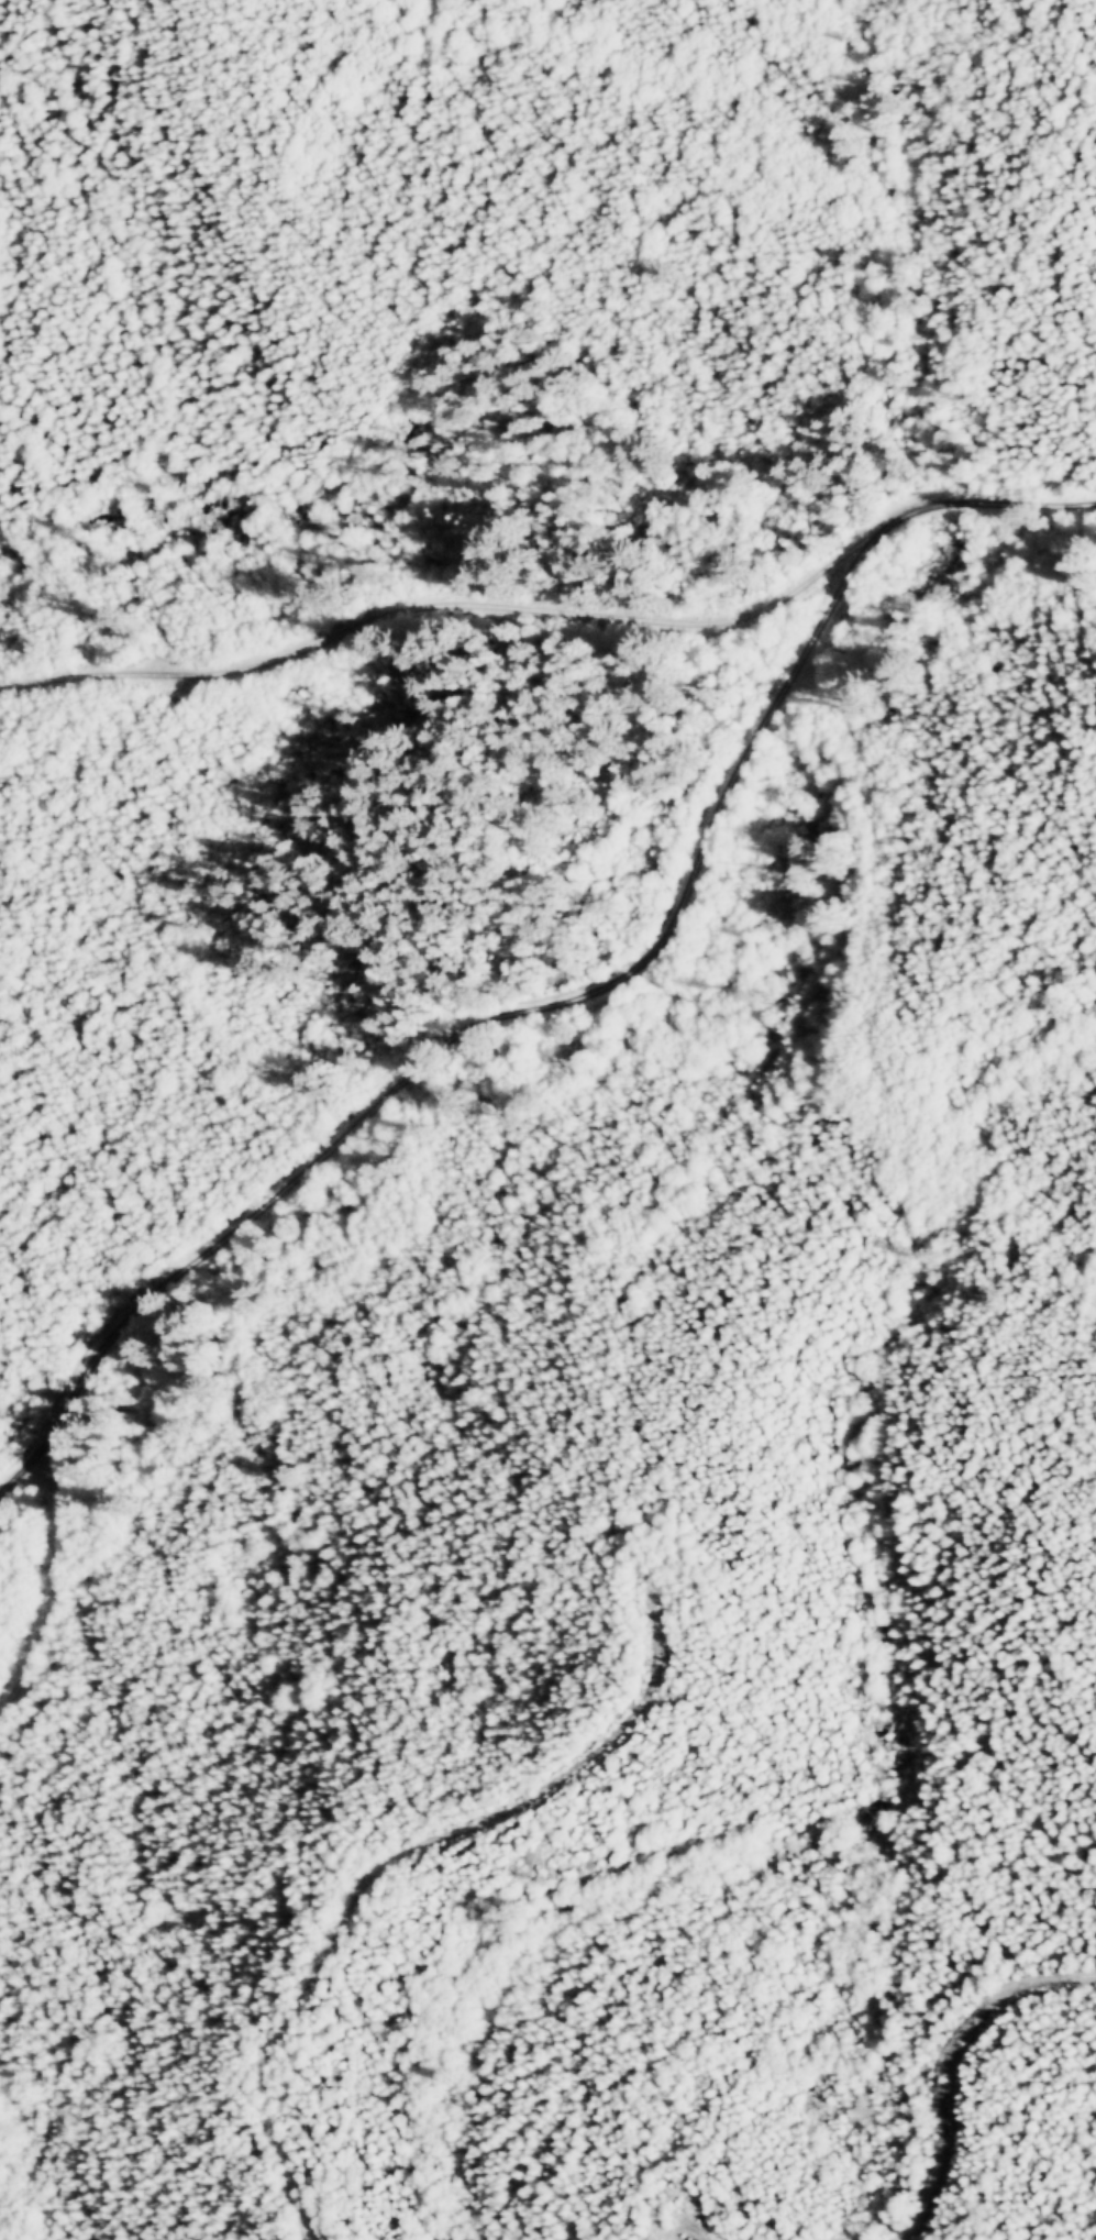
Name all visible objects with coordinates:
road: (374, 640)
road: (547, 935)
road: (201, 1709)

